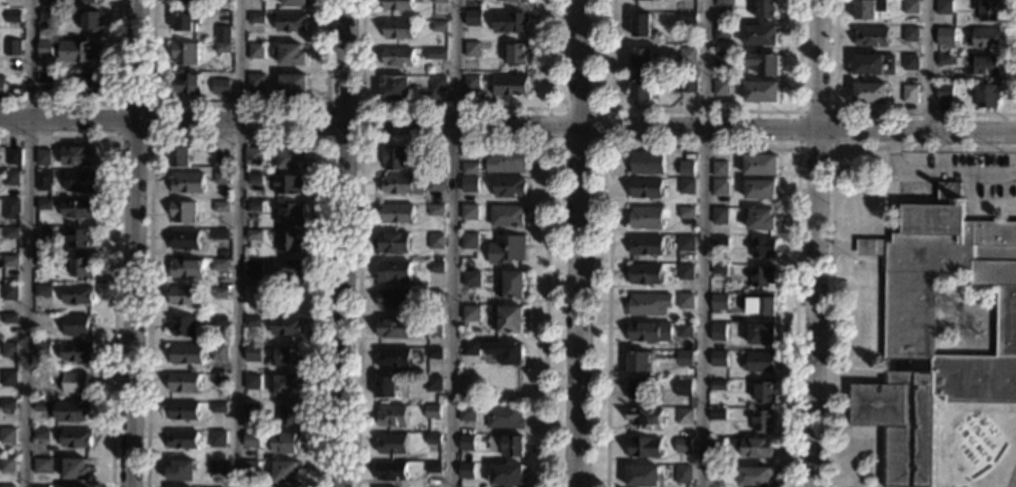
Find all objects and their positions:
building: (189, 0)
building: (660, 0)
building: (84, 1)
building: (440, 1)
building: (512, 1)
building: (725, 2)
building: (295, 3)
building: (398, 5)
building: (911, 6)
building: (944, 7)
building: (765, 9)
building: (868, 9)
building: (989, 10)
building: (49, 15)
building: (13, 16)
building: (256, 17)
building: (686, 17)
building: (473, 18)
building: (91, 21)
building: (185, 22)
building: (291, 22)
building: (510, 22)
building: (641, 25)
building: (439, 26)
building: (398, 28)
building: (722, 32)
building: (222, 33)
building: (910, 33)
building: (944, 34)
building: (759, 35)
building: (870, 36)
building: (985, 37)
building: (211, 44)
building: (223, 47)
building: (12, 48)
building: (45, 48)
building: (473, 49)
building: (78, 51)
building: (256, 51)
building: (185, 53)
building: (435, 54)
building: (291, 55)
building: (517, 55)
building: (687, 55)
building: (398, 57)
building: (642, 57)
building: (721, 59)
building: (910, 62)
building: (764, 63)
building: (971, 63)
building: (874, 64)
road: (925, 64)
building: (47, 77)
building: (82, 82)
building: (256, 82)
building: (471, 82)
building: (186, 83)
building: (2, 84)
building: (293, 84)
building: (437, 84)
building: (688, 84)
building: (510, 85)
building: (220, 86)
building: (396, 88)
building: (721, 88)
building: (641, 90)
building: (761, 91)
building: (944, 91)
building: (870, 93)
building: (910, 94)
building: (988, 96)
road: (110, 101)
road: (239, 104)
road: (456, 106)
road: (705, 110)
road: (868, 112)
road: (508, 122)
road: (116, 138)
road: (237, 139)
road: (325, 140)
road: (453, 143)
road: (610, 143)
road: (701, 144)
road: (796, 146)
building: (78, 155)
building: (222, 155)
building: (254, 155)
building: (14, 156)
building: (179, 156)
building: (43, 157)
building: (288, 158)
building: (395, 159)
building: (506, 161)
building: (646, 162)
building: (439, 165)
building: (760, 165)
building: (687, 168)
building: (470, 169)
building: (719, 169)
road: (935, 175)
building: (11, 178)
building: (221, 178)
building: (254, 179)
building: (44, 180)
building: (80, 181)
building: (187, 183)
building: (437, 183)
building: (288, 185)
building: (401, 185)
building: (470, 185)
building: (686, 186)
building: (510, 187)
building: (720, 187)
building: (646, 188)
building: (760, 189)
building: (44, 204)
building: (220, 207)
building: (254, 207)
building: (77, 208)
building: (11, 209)
building: (436, 210)
building: (183, 212)
building: (469, 212)
building: (290, 213)
building: (685, 213)
building: (397, 214)
building: (719, 215)
building: (507, 216)
building: (646, 217)
building: (761, 220)
road: (831, 225)
building: (11, 232)
building: (44, 233)
building: (220, 234)
building: (254, 235)
building: (80, 238)
building: (185, 239)
building: (437, 240)
building: (289, 241)
building: (469, 241)
building: (720, 241)
road: (28, 243)
road: (133, 243)
road: (236, 243)
road: (343, 243)
building: (394, 243)
road: (452, 243)
road: (578, 243)
building: (686, 243)
road: (703, 243)
road: (815, 243)
building: (646, 245)
building: (763, 247)
road: (843, 247)
building: (506, 249)
road: (112, 254)
building: (10, 261)
building: (43, 261)
building: (219, 264)
building: (81, 267)
building: (436, 267)
building: (186, 268)
building: (254, 268)
building: (288, 269)
building: (719, 269)
building: (394, 271)
building: (685, 272)
building: (645, 274)
building: (762, 276)
building: (472, 279)
building: (513, 285)
building: (43, 290)
building: (10, 292)
building: (219, 293)
building: (77, 294)
building: (435, 295)
building: (185, 296)
building: (393, 299)
building: (685, 301)
building: (718, 302)
building: (649, 304)
building: (761, 305)
building: (471, 313)
building: (9, 318)
building: (510, 320)
building: (909, 320)
building: (43, 321)
building: (219, 321)
building: (252, 322)
building: (78, 325)
building: (182, 326)
building: (286, 326)
building: (393, 328)
building: (434, 328)
building: (684, 330)
building: (644, 332)
building: (718, 332)
building: (761, 334)
building: (43, 348)
building: (470, 348)
building: (9, 349)
building: (76, 352)
building: (218, 352)
building: (506, 352)
building: (253, 353)
building: (434, 353)
building: (186, 355)
building: (287, 357)
building: (393, 357)
building: (684, 358)
building: (718, 358)
building: (639, 361)
building: (759, 362)
road: (857, 374)
building: (43, 377)
building: (8, 378)
building: (219, 379)
building: (251, 382)
building: (76, 383)
building: (183, 383)
building: (432, 383)
building: (718, 385)
building: (287, 386)
building: (386, 387)
building: (683, 387)
building: (641, 389)
building: (764, 391)
building: (8, 404)
building: (218, 408)
building: (66, 410)
building: (183, 411)
building: (251, 411)
building: (432, 411)
building: (290, 414)
building: (467, 414)
building: (716, 414)
building: (391, 416)
building: (684, 416)
building: (503, 417)
building: (646, 418)
building: (762, 421)
building: (41, 434)
building: (7, 435)
building: (76, 438)
building: (182, 439)
building: (217, 439)
building: (433, 439)
building: (252, 440)
building: (390, 442)
building: (286, 443)
building: (467, 443)
building: (682, 445)
building: (716, 445)
building: (512, 446)
building: (755, 447)
building: (644, 448)
building: (7, 465)
building: (42, 465)
building: (432, 467)
building: (217, 468)
building: (250, 468)
building: (76, 469)
building: (181, 470)
building: (391, 470)
building: (467, 471)
building: (287, 472)
building: (507, 474)
building: (715, 474)
building: (682, 475)
road: (1011, 475)
building: (753, 476)
building: (643, 477)
building: (7, 486)
building: (40, 486)
building: (74, 486)

